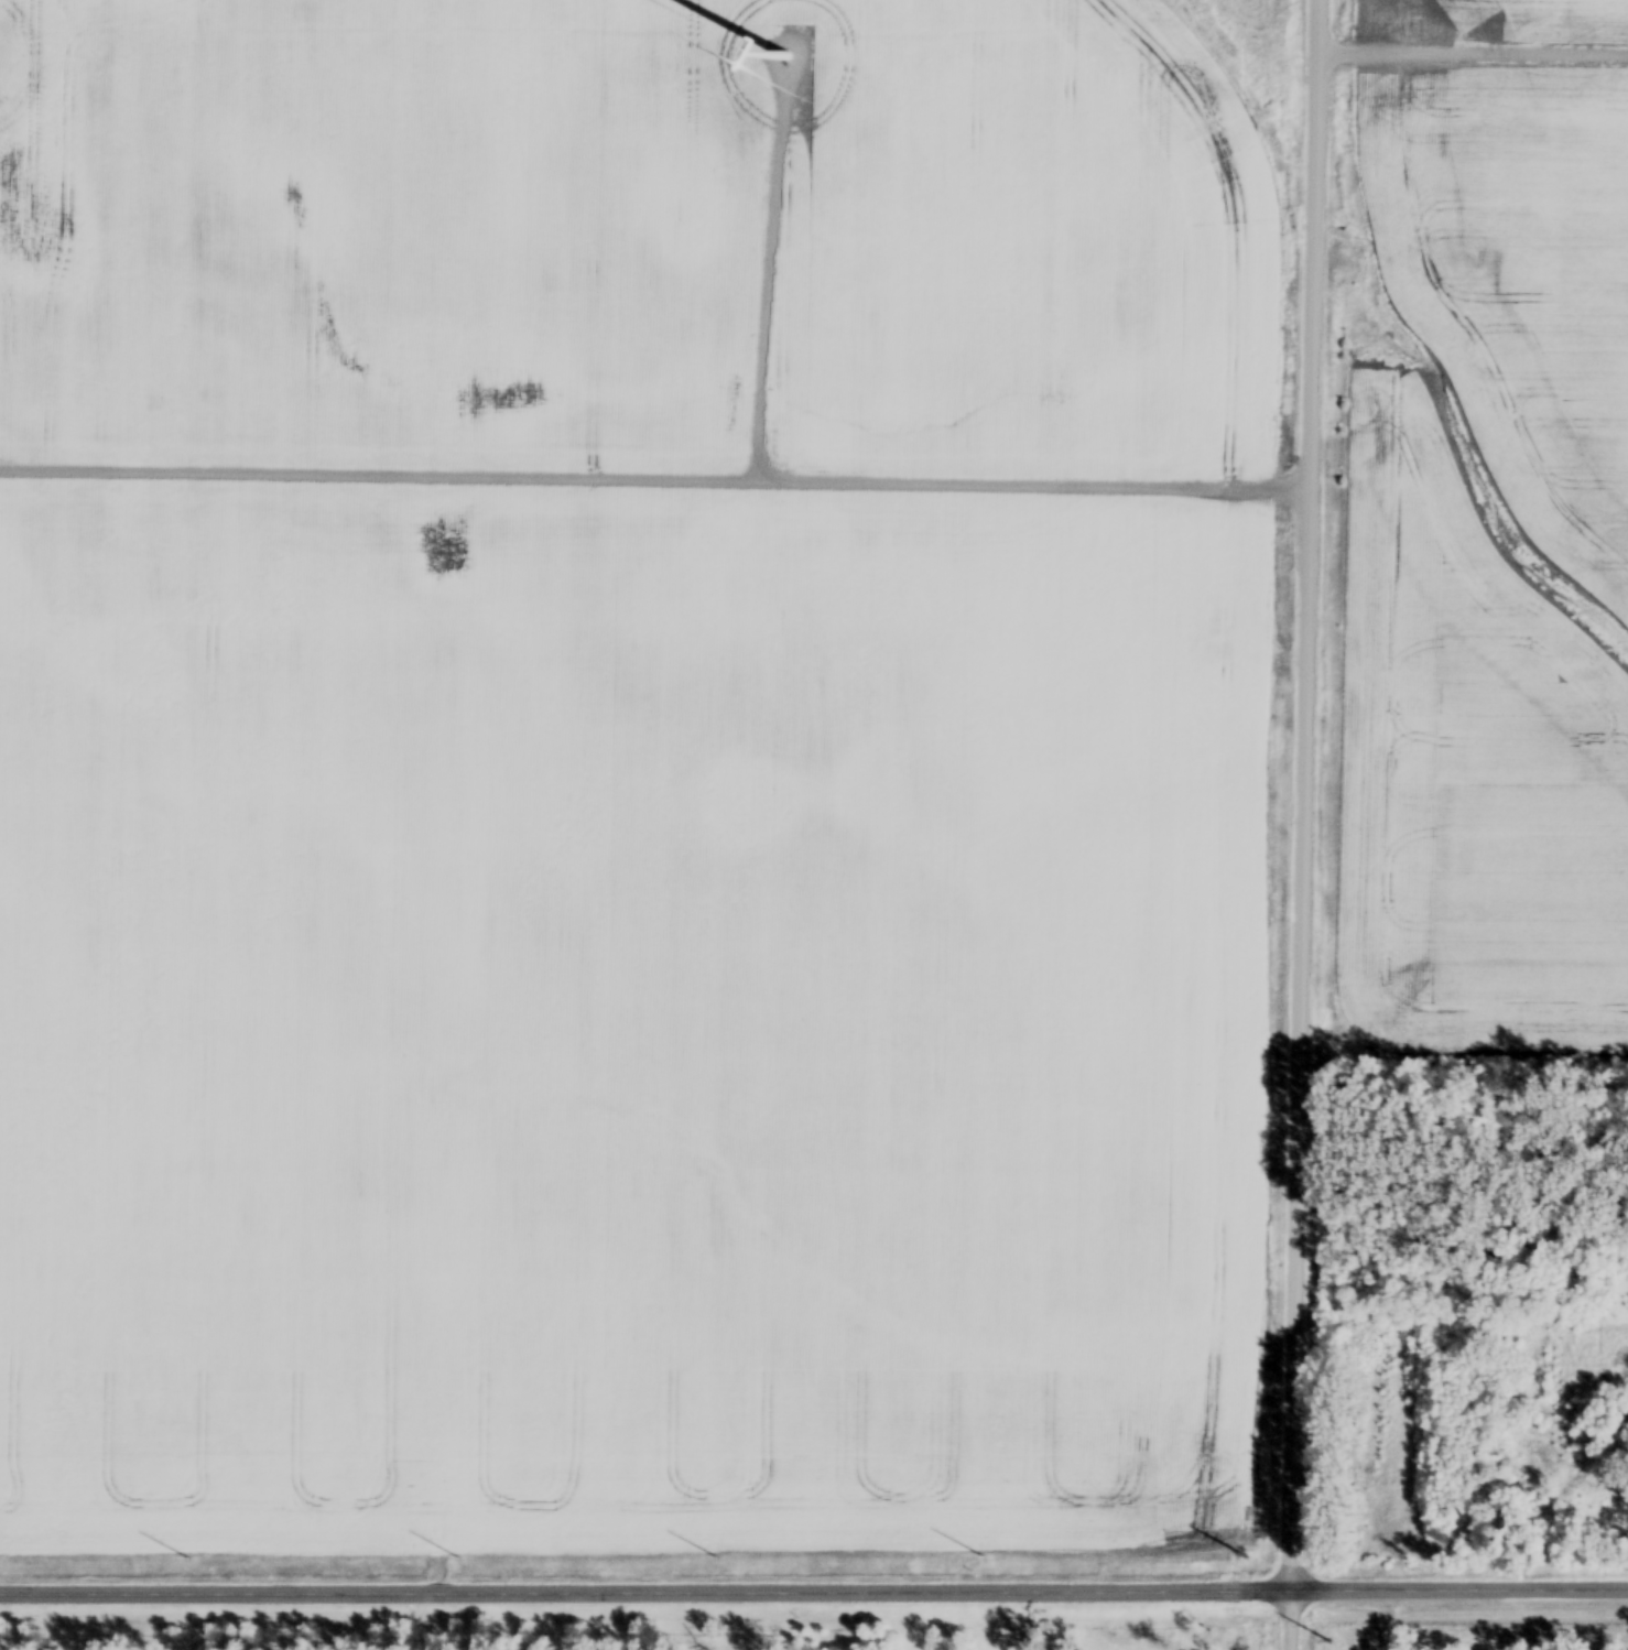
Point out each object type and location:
wind turbine: (781, 58)
road: (1307, 824)
building: (1620, 1428)
power tower: (1247, 1561)
road: (1461, 1592)
road: (647, 1598)
power tower: (1329, 1646)

